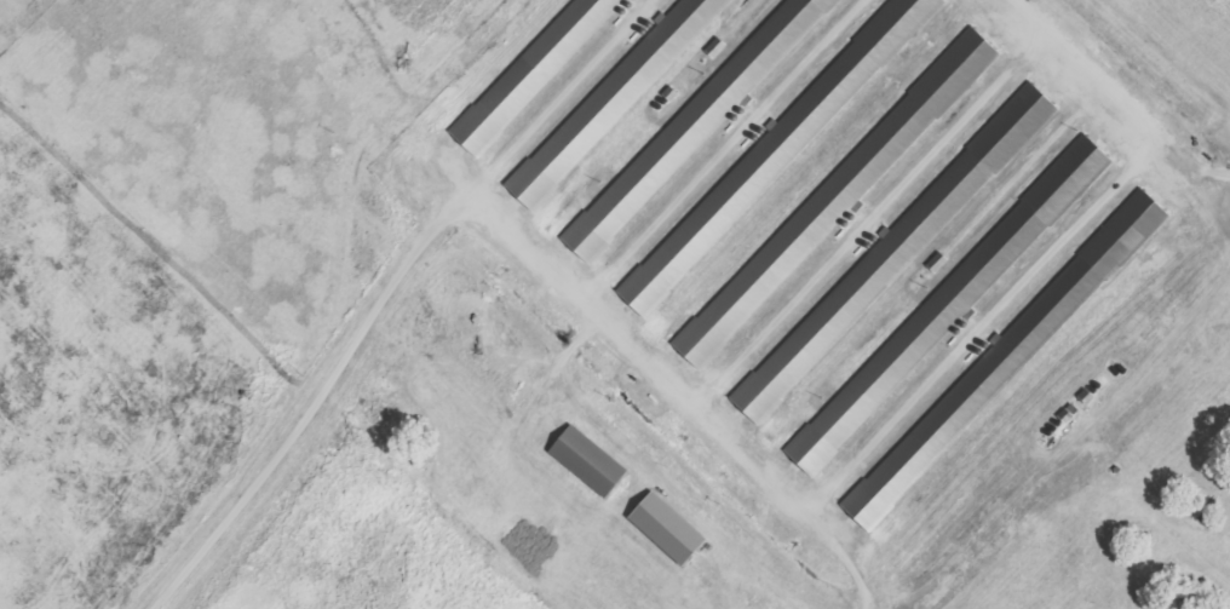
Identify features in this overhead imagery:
building: (530, 73)
building: (611, 99)
building: (692, 126)
building: (770, 155)
building: (837, 195)
building: (891, 254)
building: (950, 300)
building: (1000, 363)
building: (585, 460)
building: (665, 528)

